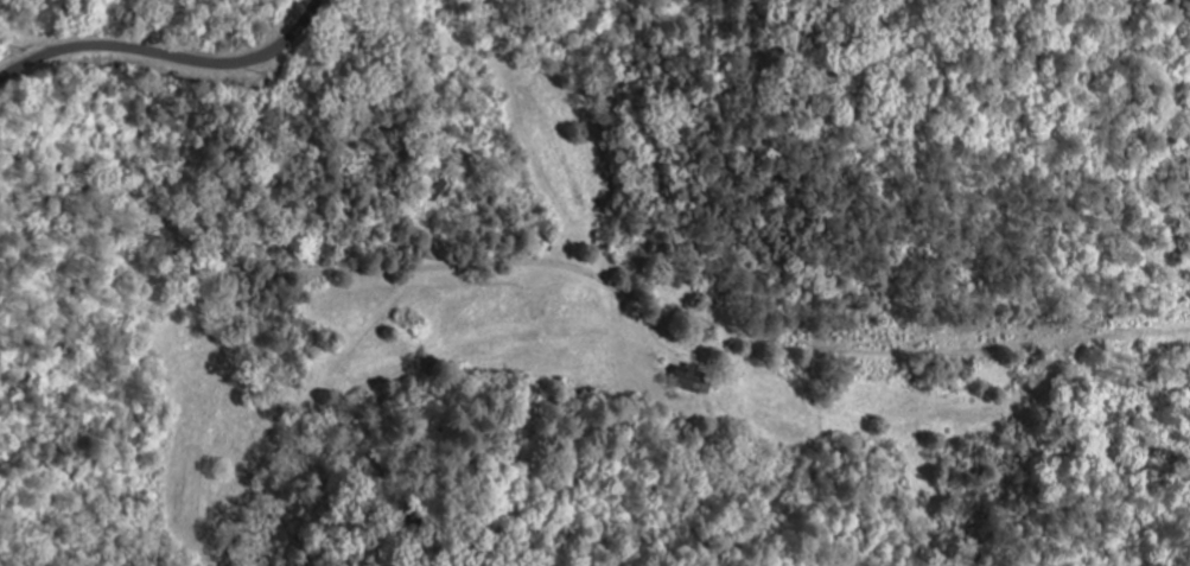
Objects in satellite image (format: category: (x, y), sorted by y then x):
road: (171, 57)

